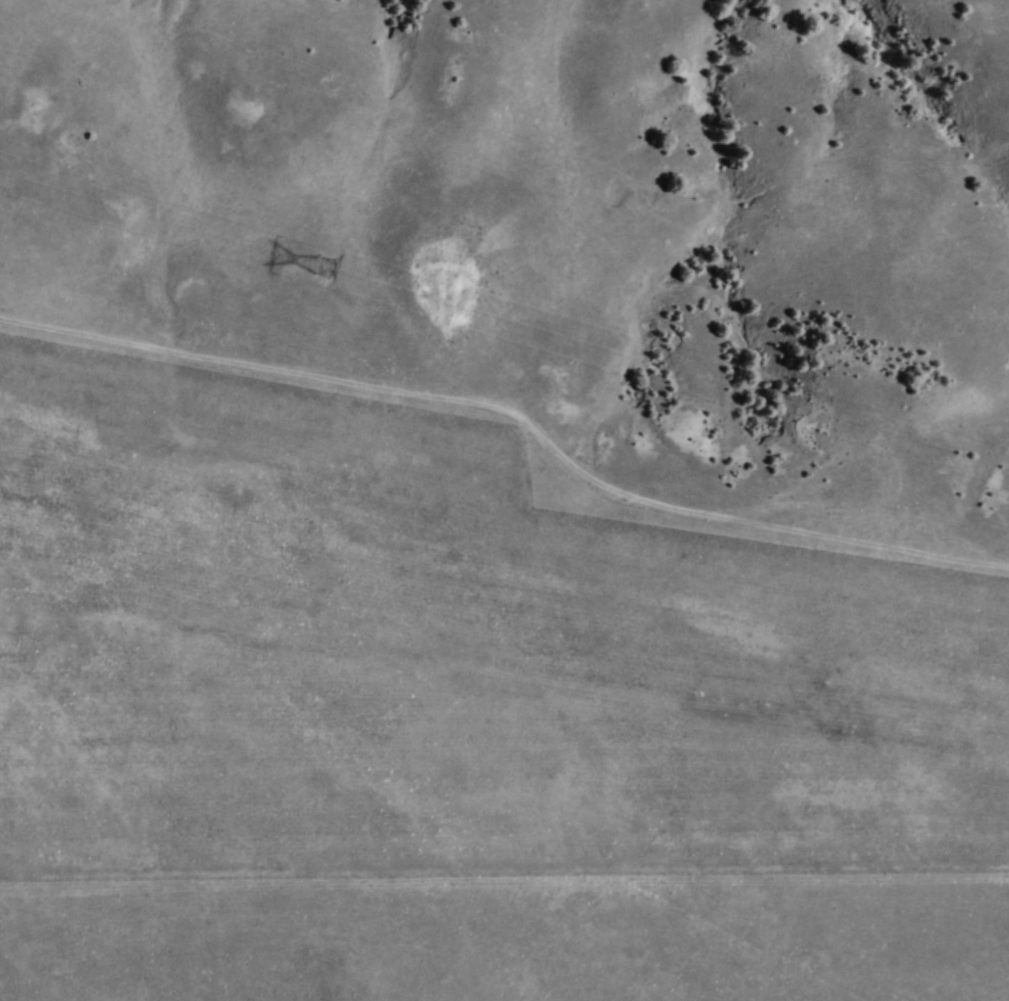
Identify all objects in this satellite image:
power tower: (324, 259)

